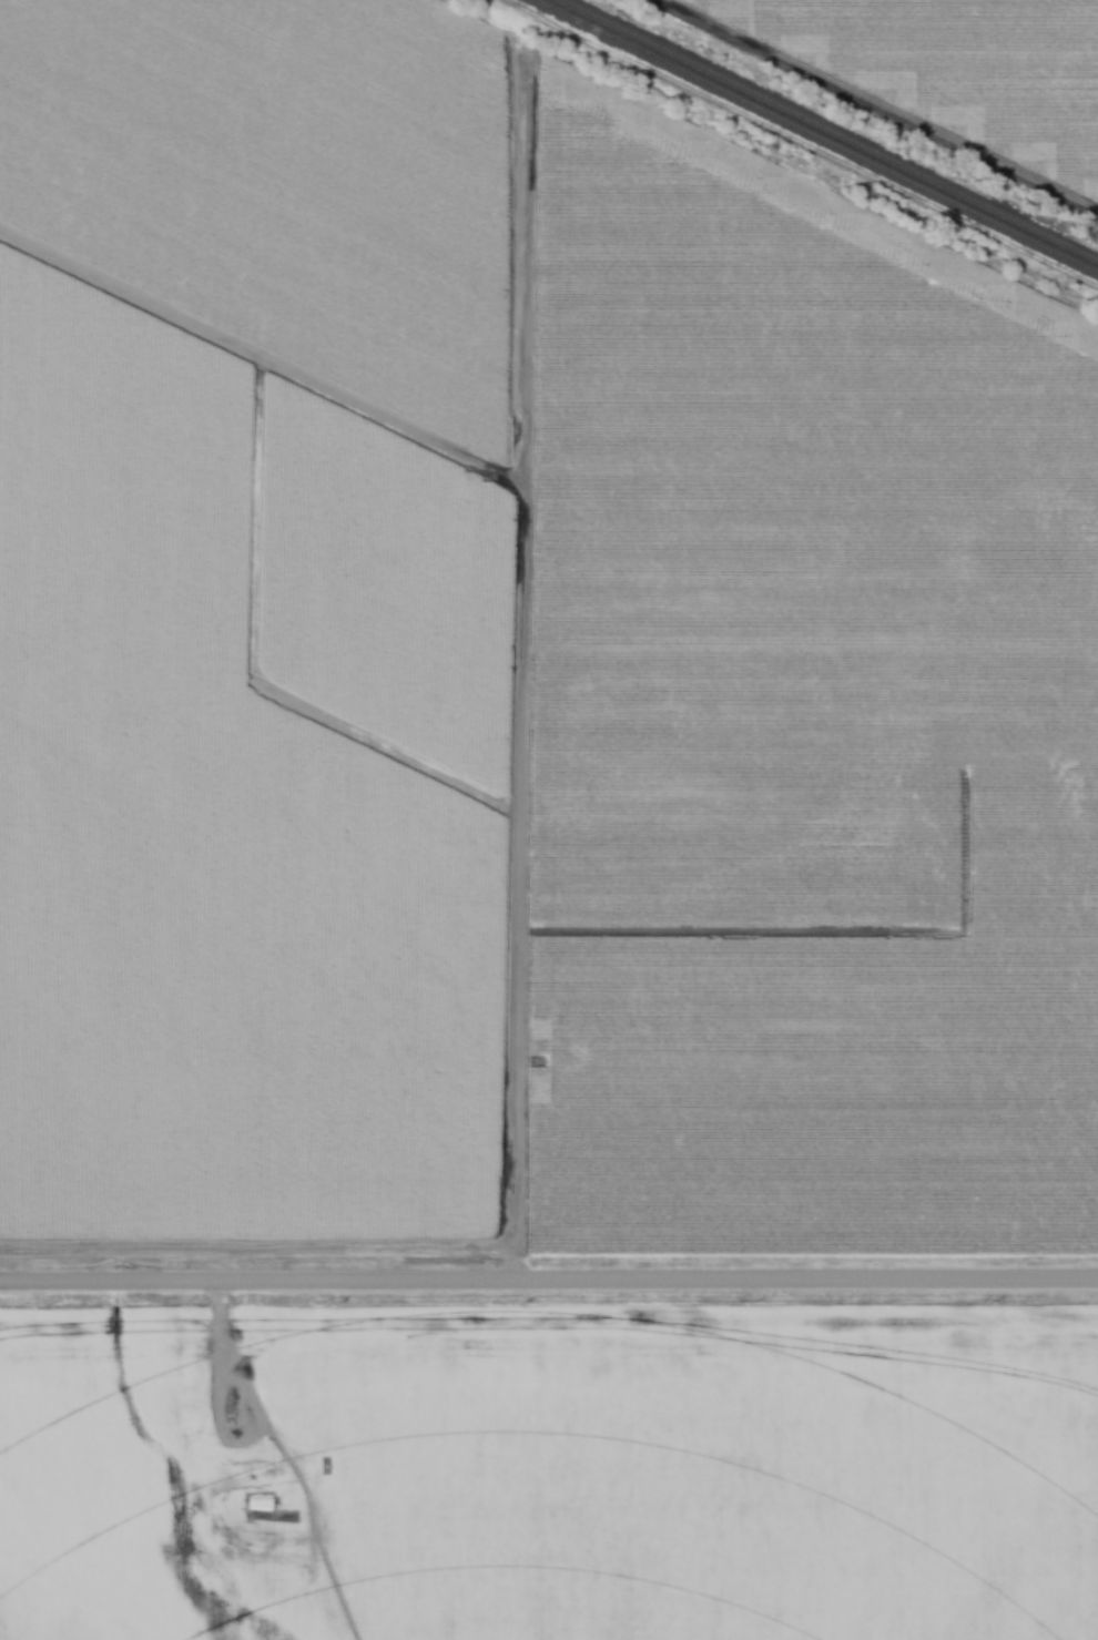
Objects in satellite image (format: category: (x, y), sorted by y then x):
railway: (827, 131)
railway: (814, 137)
road: (549, 1285)
building: (264, 1335)
building: (189, 1342)
building: (243, 1477)

